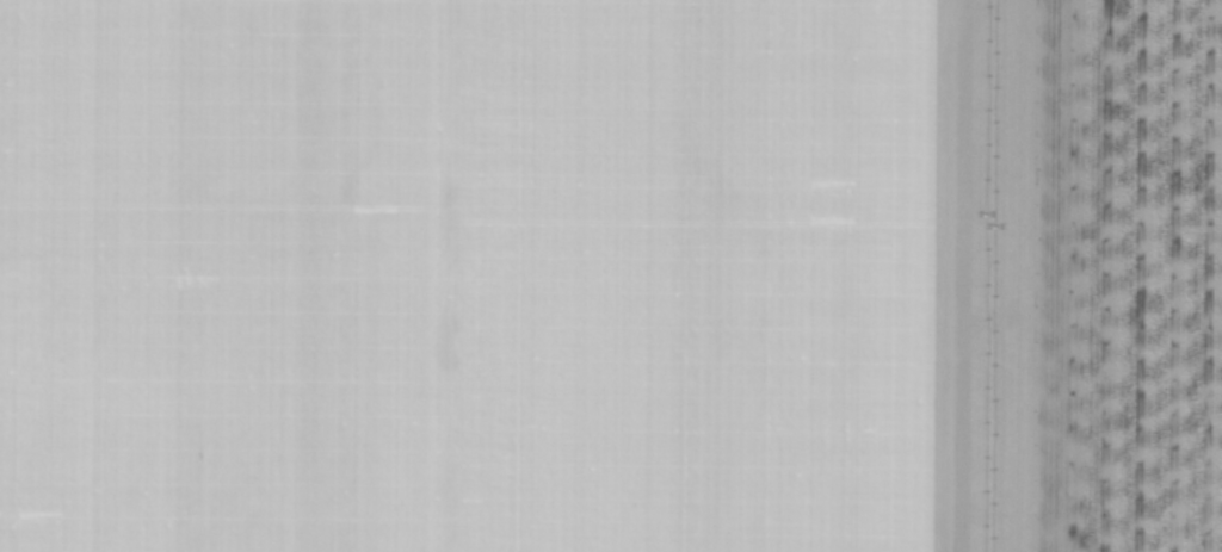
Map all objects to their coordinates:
crop: (611, 275)

